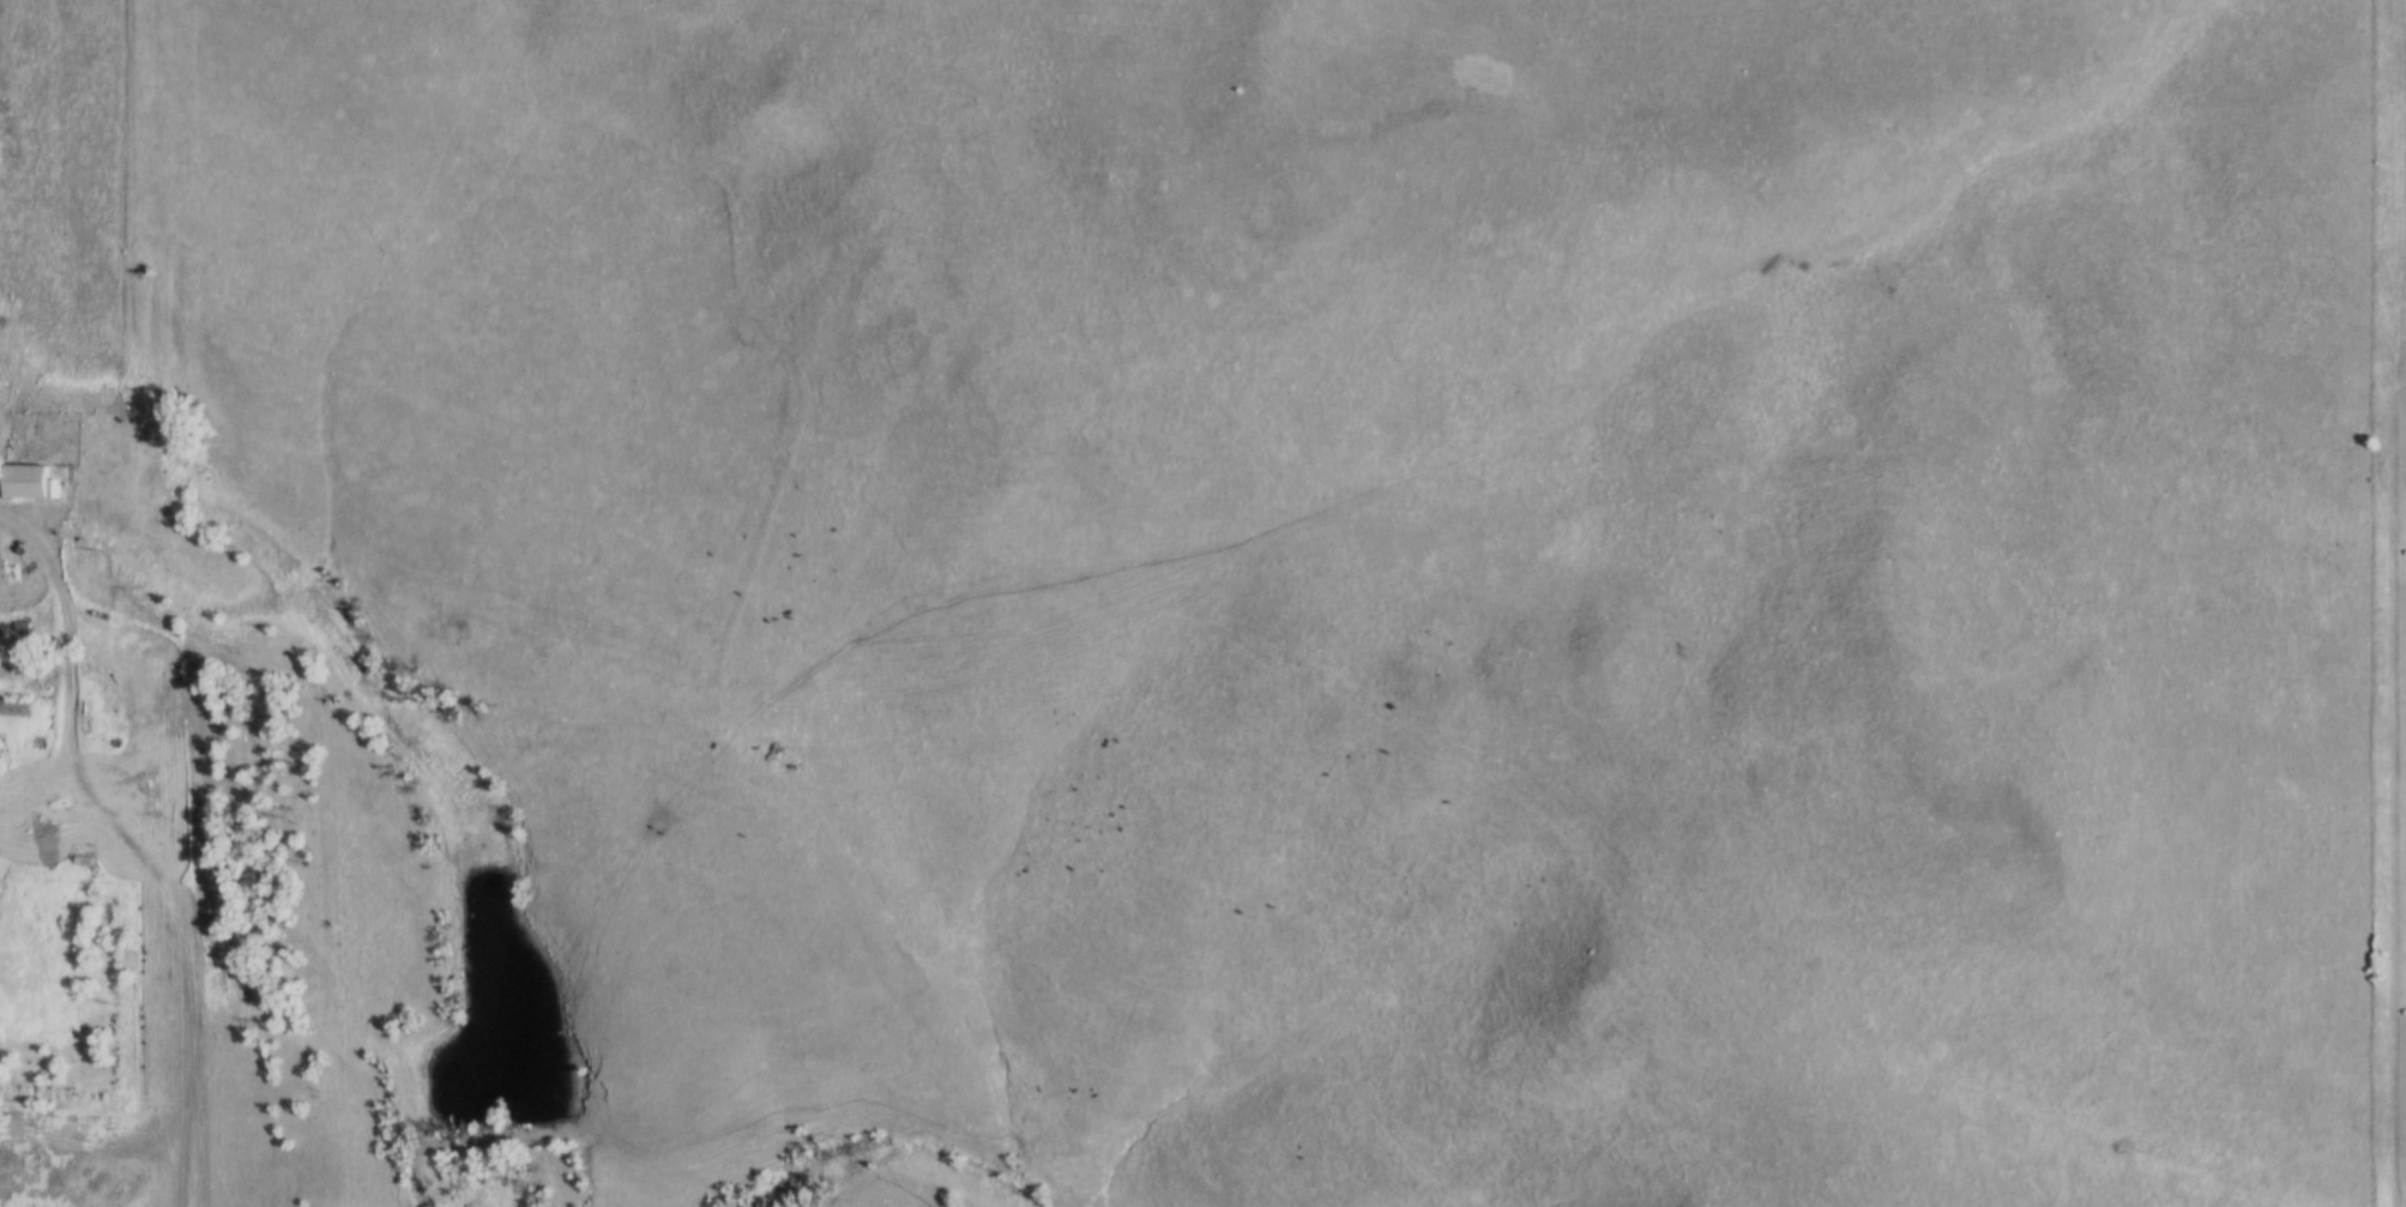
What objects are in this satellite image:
building: (29, 481)
building: (13, 707)

